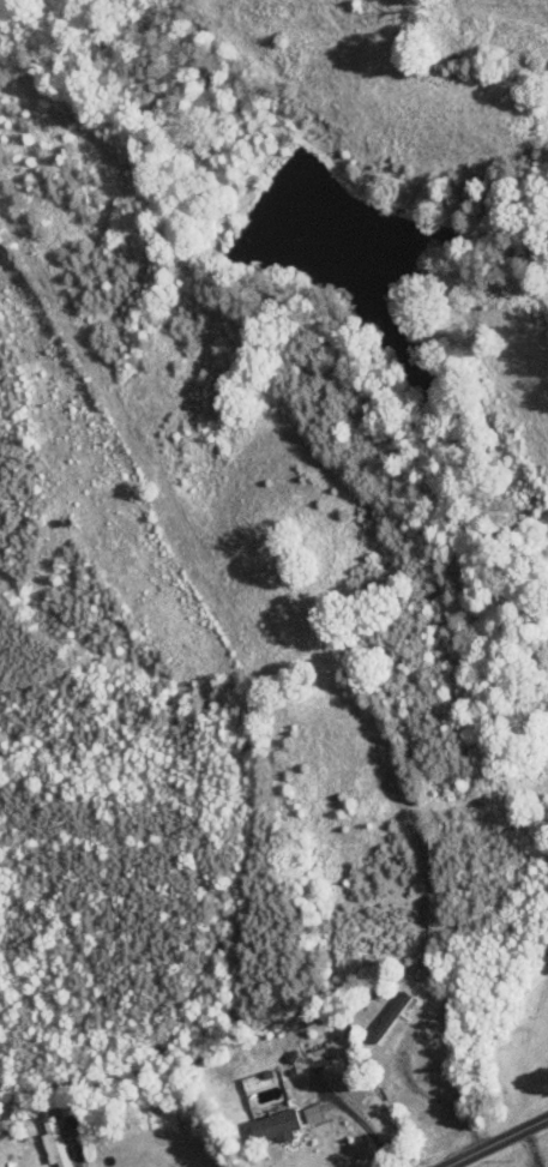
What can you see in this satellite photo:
building: (391, 1015)
road: (434, 1097)
building: (313, 1111)
road: (357, 1118)
building: (278, 1124)
building: (55, 1141)
road: (495, 1142)

